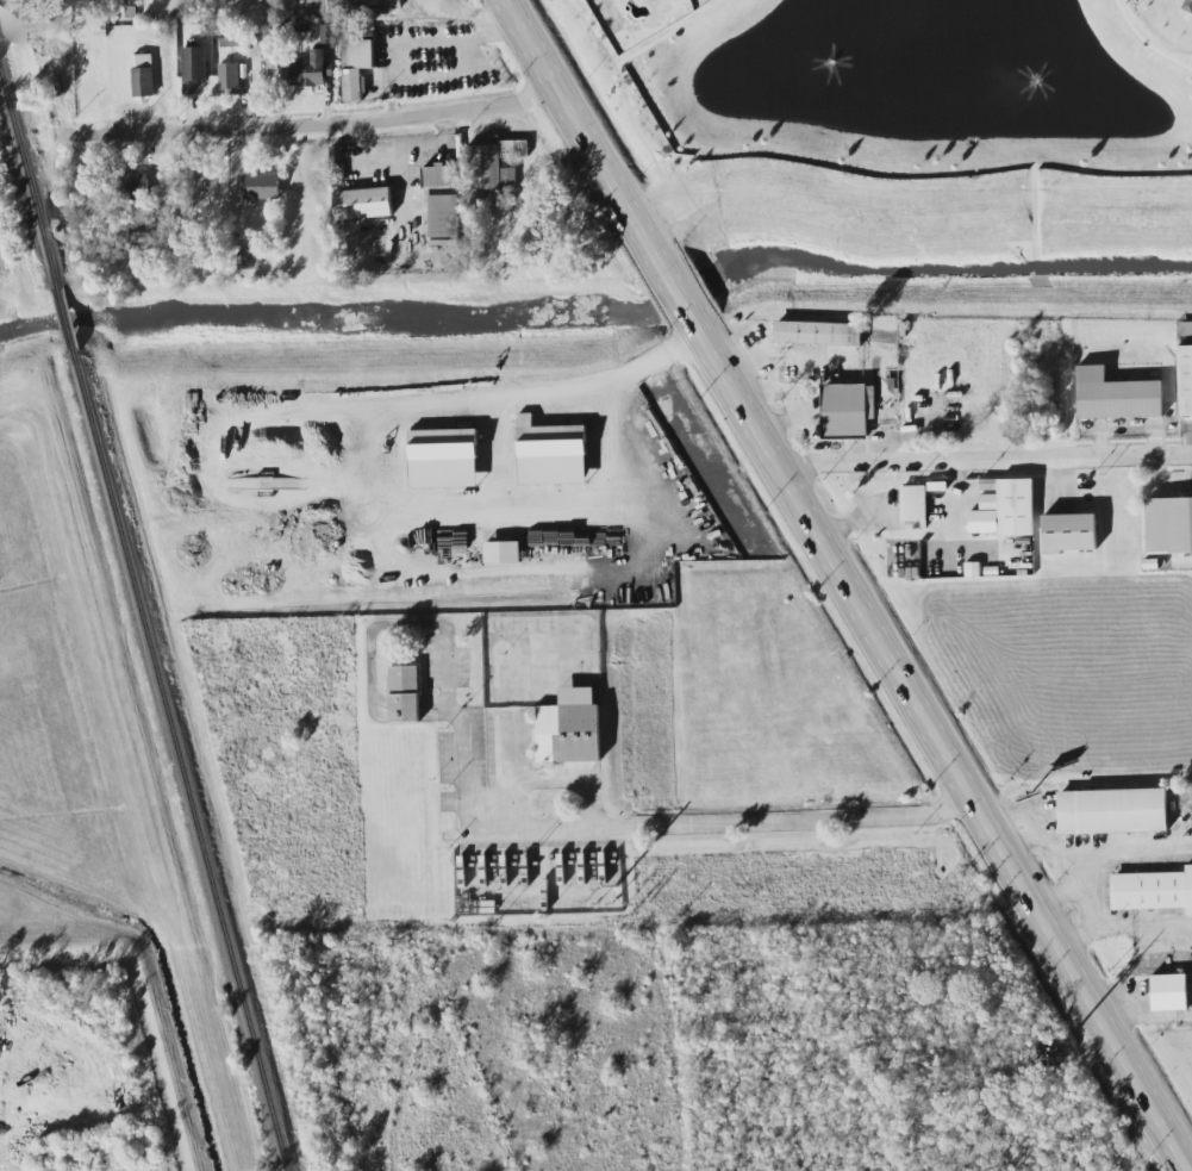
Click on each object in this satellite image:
building: (131, 1)
building: (375, 4)
building: (1187, 6)
building: (310, 7)
road: (470, 14)
road: (670, 32)
building: (327, 35)
building: (231, 41)
road: (1147, 42)
road: (397, 48)
fountain: (831, 64)
road: (616, 66)
building: (355, 67)
building: (194, 68)
building: (308, 70)
building: (143, 75)
building: (229, 77)
fountain: (1040, 80)
road: (393, 101)
road: (311, 133)
road: (585, 138)
road: (407, 147)
road: (654, 160)
road: (668, 162)
building: (494, 167)
railway: (30, 174)
road: (916, 176)
building: (133, 185)
building: (262, 186)
building: (363, 204)
building: (144, 232)
building: (444, 242)
building: (249, 260)
road: (679, 299)
railway: (68, 322)
building: (1184, 330)
building: (818, 334)
building: (1182, 380)
building: (1111, 395)
road: (520, 409)
building: (849, 410)
building: (551, 454)
building: (443, 459)
road: (493, 462)
road: (984, 462)
road: (609, 497)
building: (916, 504)
building: (1016, 505)
building: (1167, 525)
building: (1073, 532)
road: (917, 535)
building: (503, 552)
building: (404, 694)
building: (569, 728)
road: (941, 741)
railway: (181, 760)
road: (545, 779)
building: (1112, 811)
road: (541, 827)
road: (1096, 847)
building: (1153, 891)
road: (1127, 928)
building: (1169, 992)
road: (1191, 1158)

